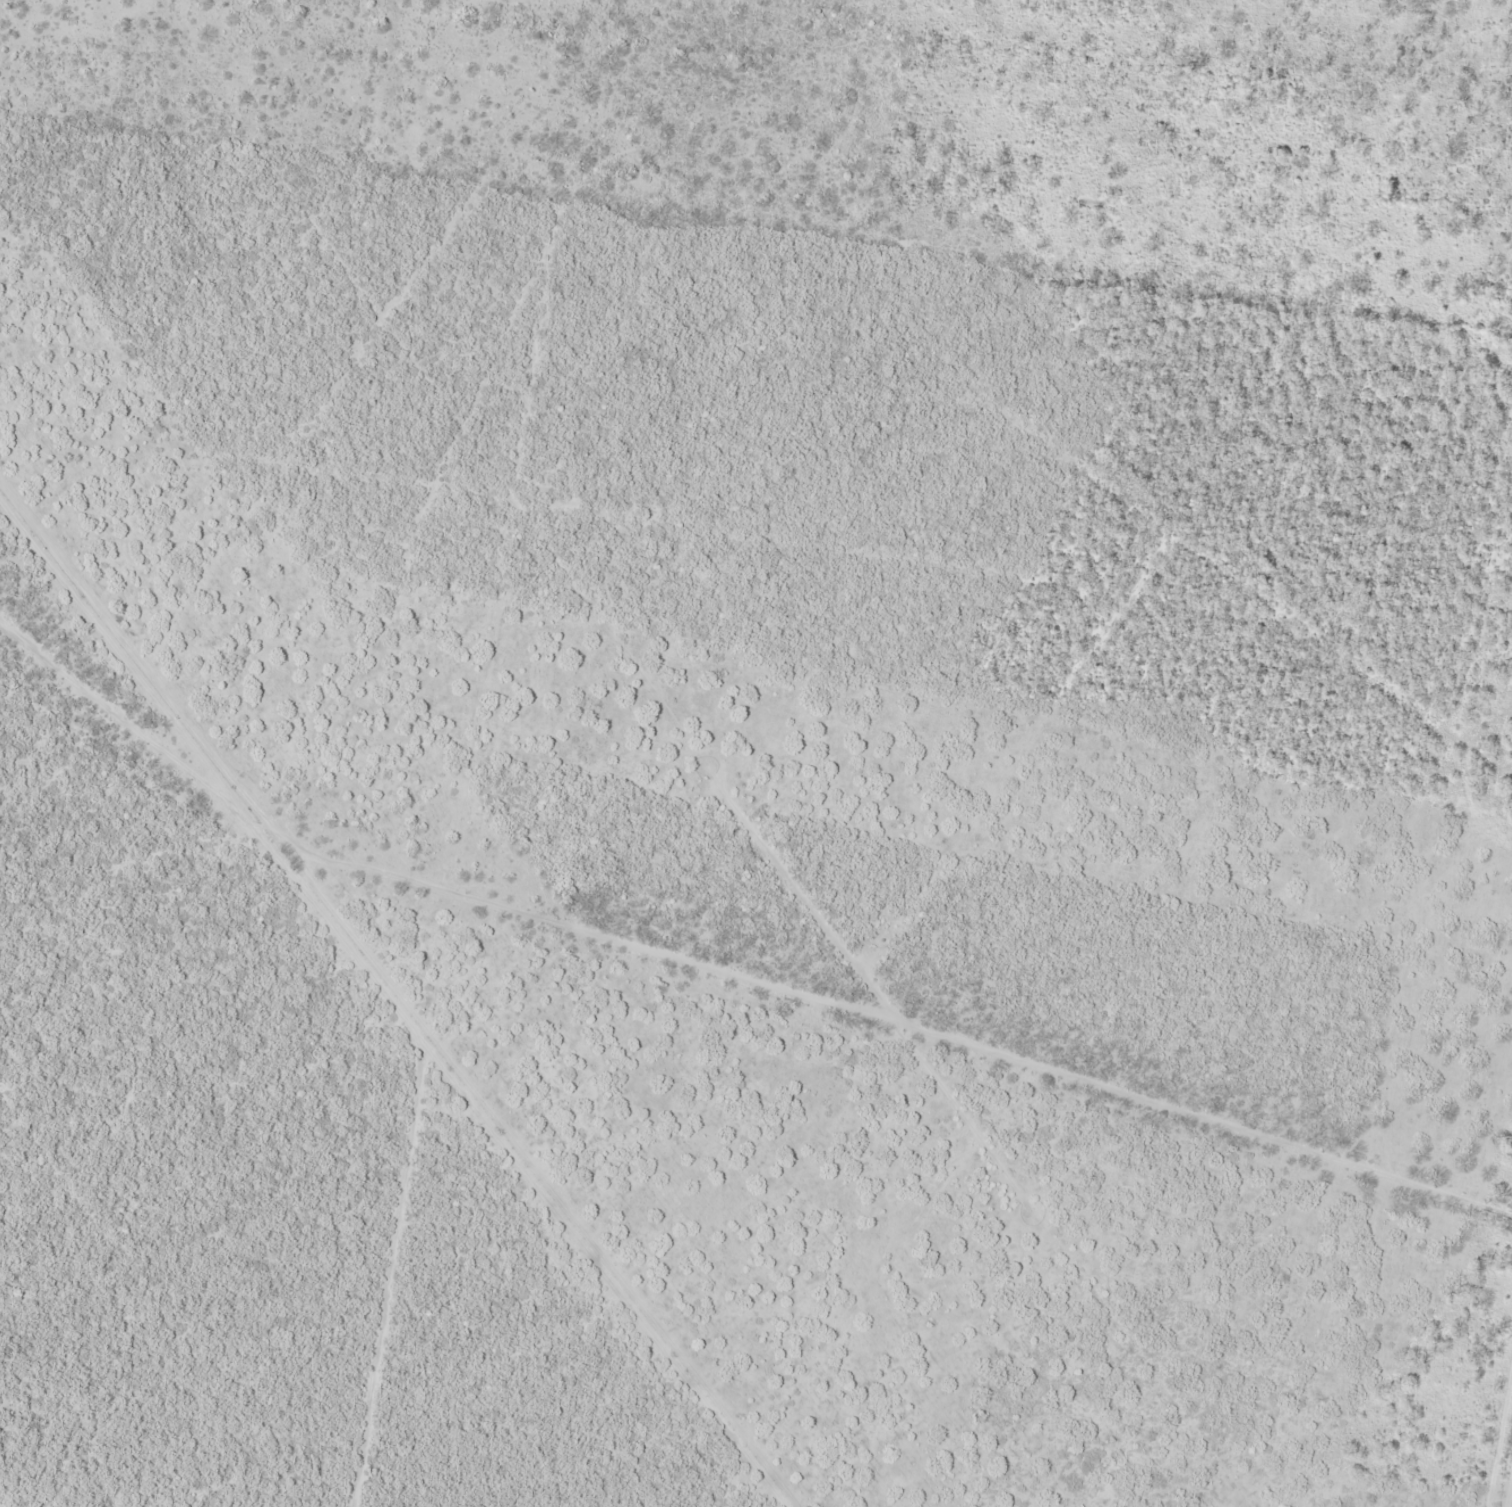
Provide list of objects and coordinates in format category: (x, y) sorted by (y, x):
road: (1506, 1452)

